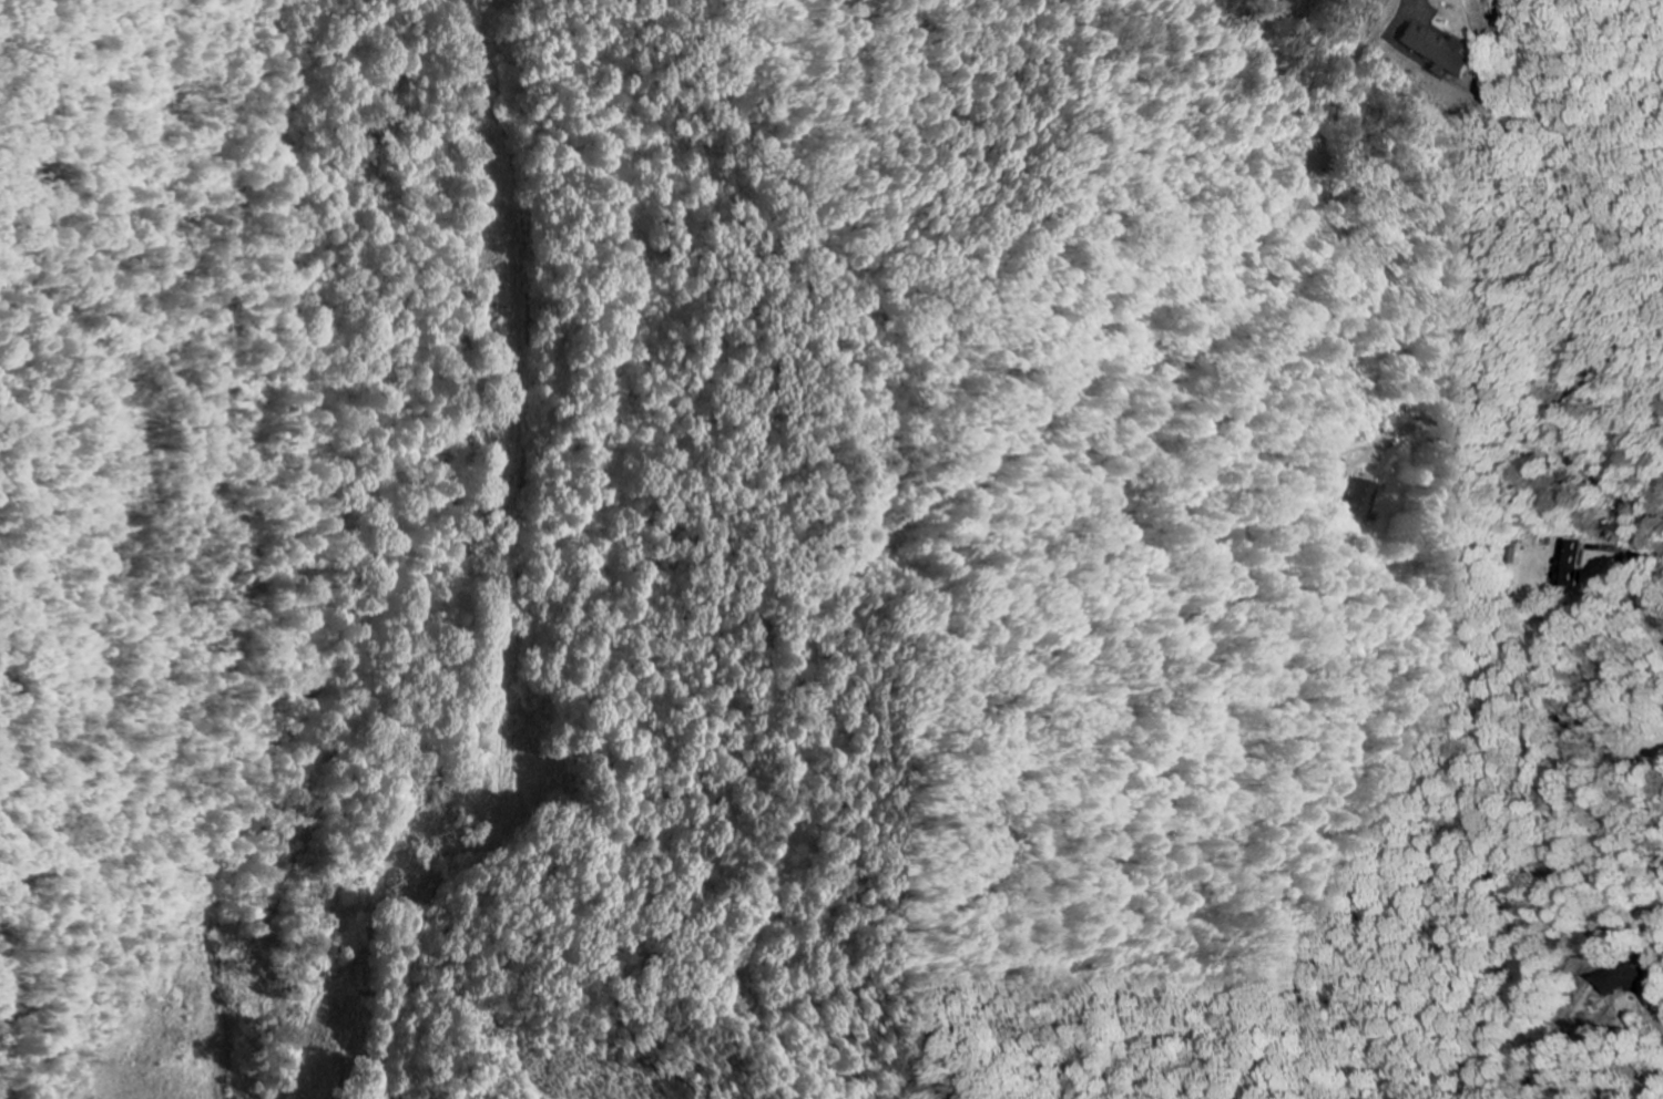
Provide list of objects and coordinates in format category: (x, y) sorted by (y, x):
building: (1443, 52)
building: (1365, 501)
building: (1573, 565)
building: (1630, 983)

